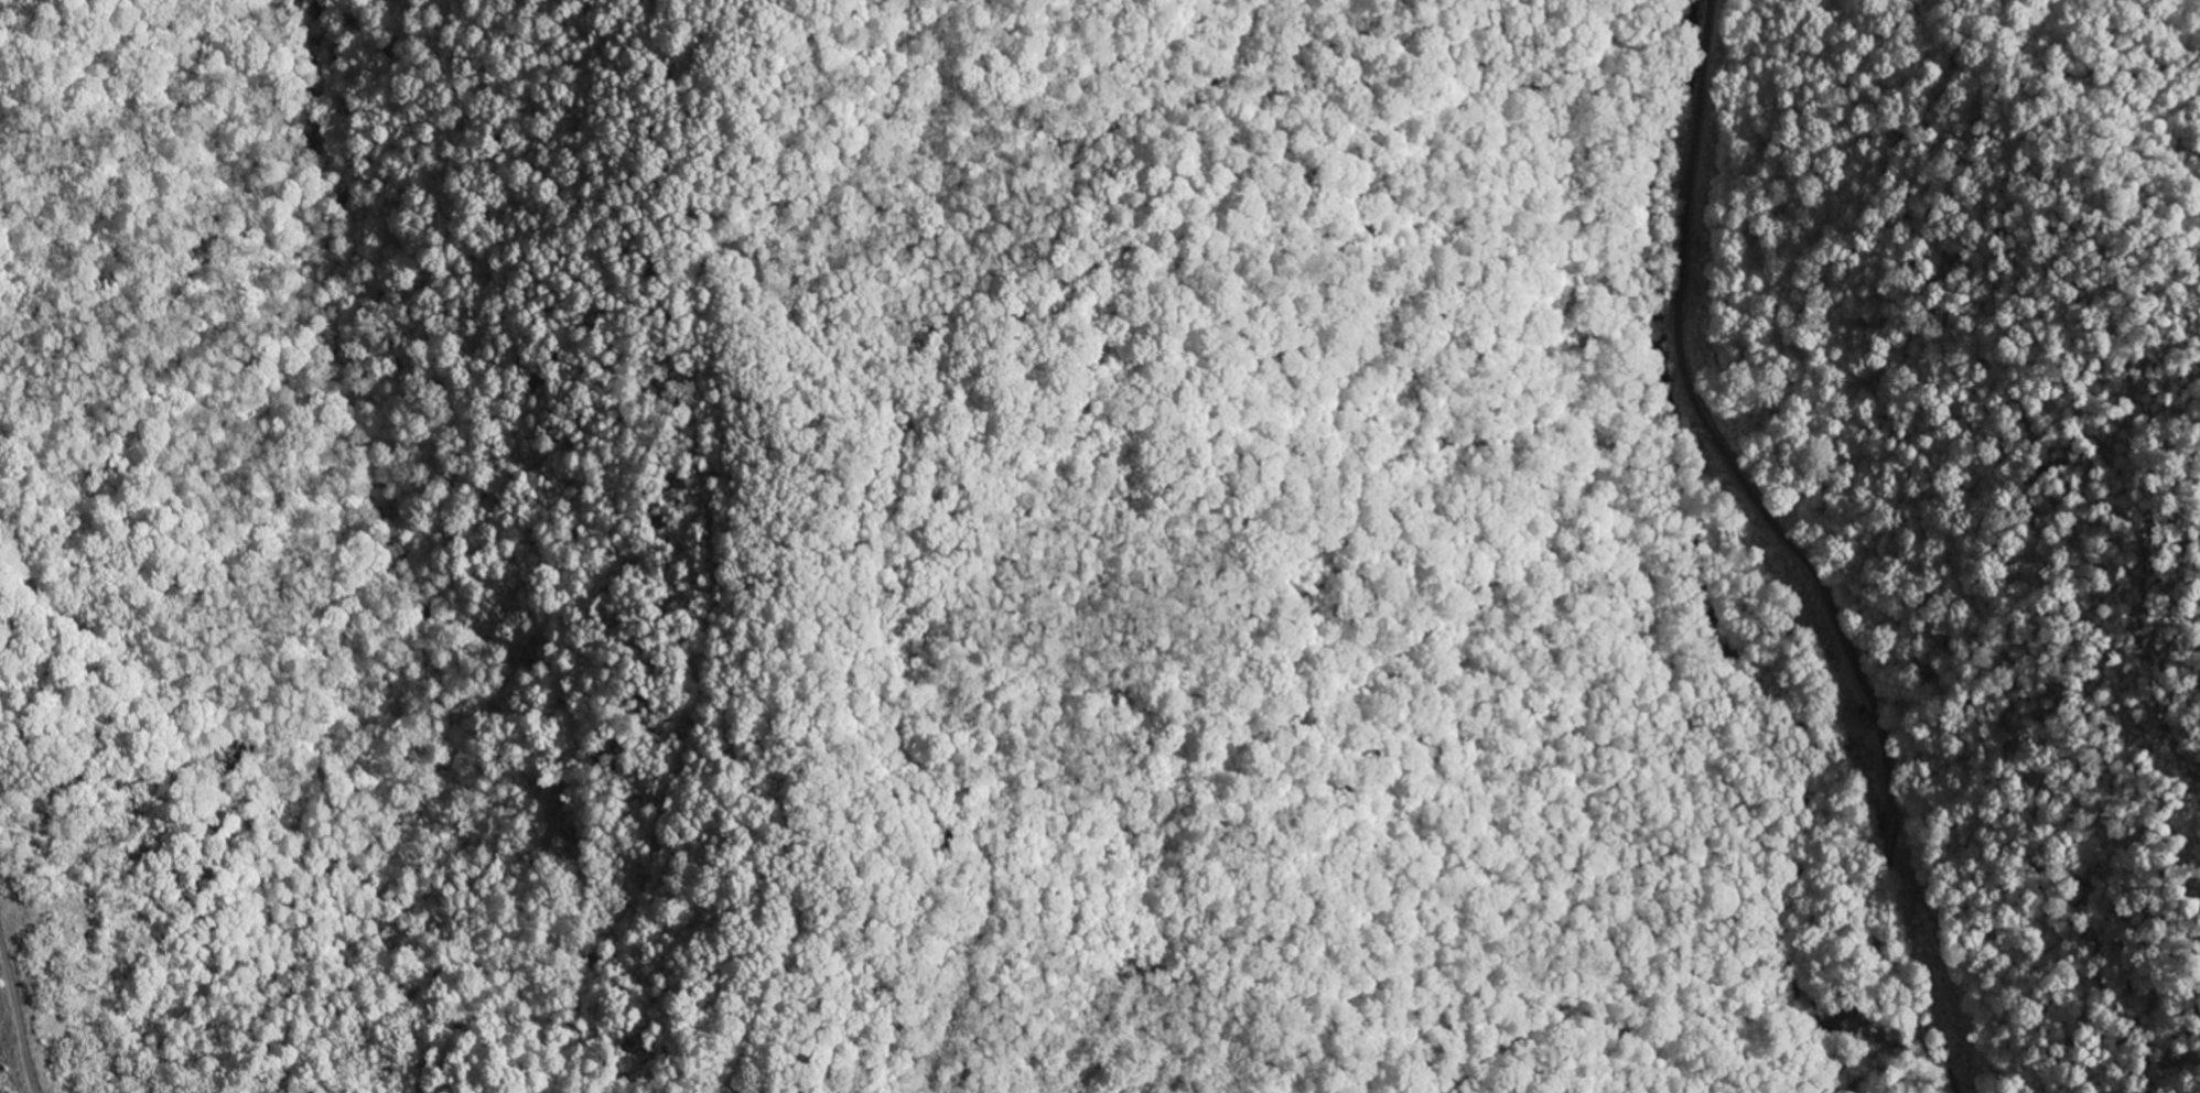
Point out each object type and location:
road: (1797, 549)

